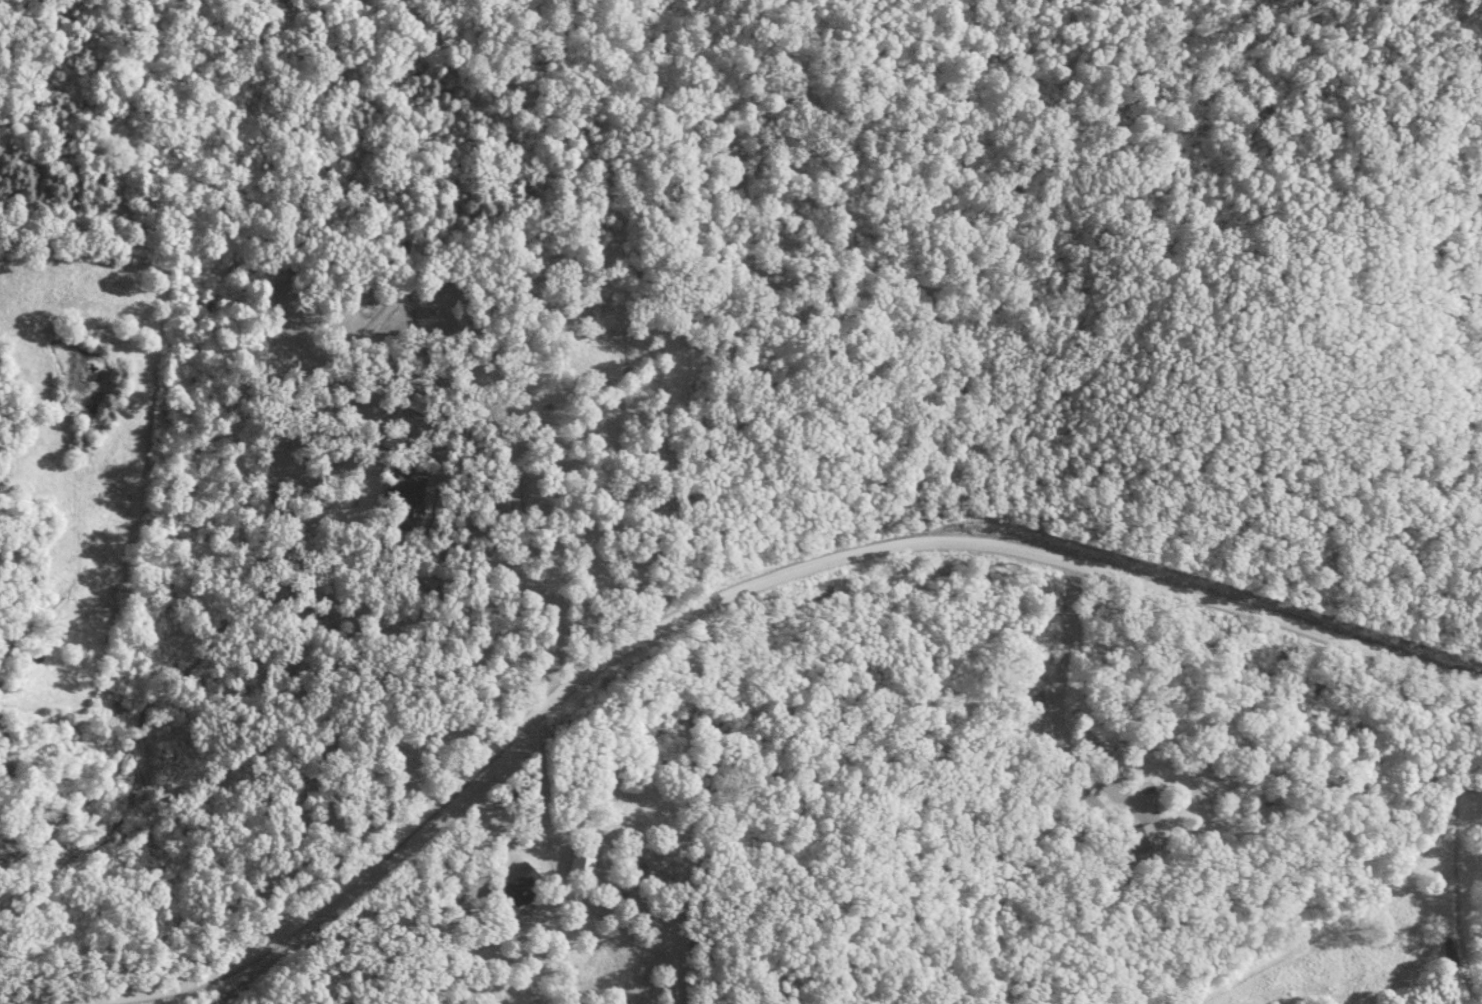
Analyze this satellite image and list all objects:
building: (410, 498)
road: (526, 537)
road: (693, 607)
building: (1063, 696)
building: (583, 859)
building: (519, 884)

